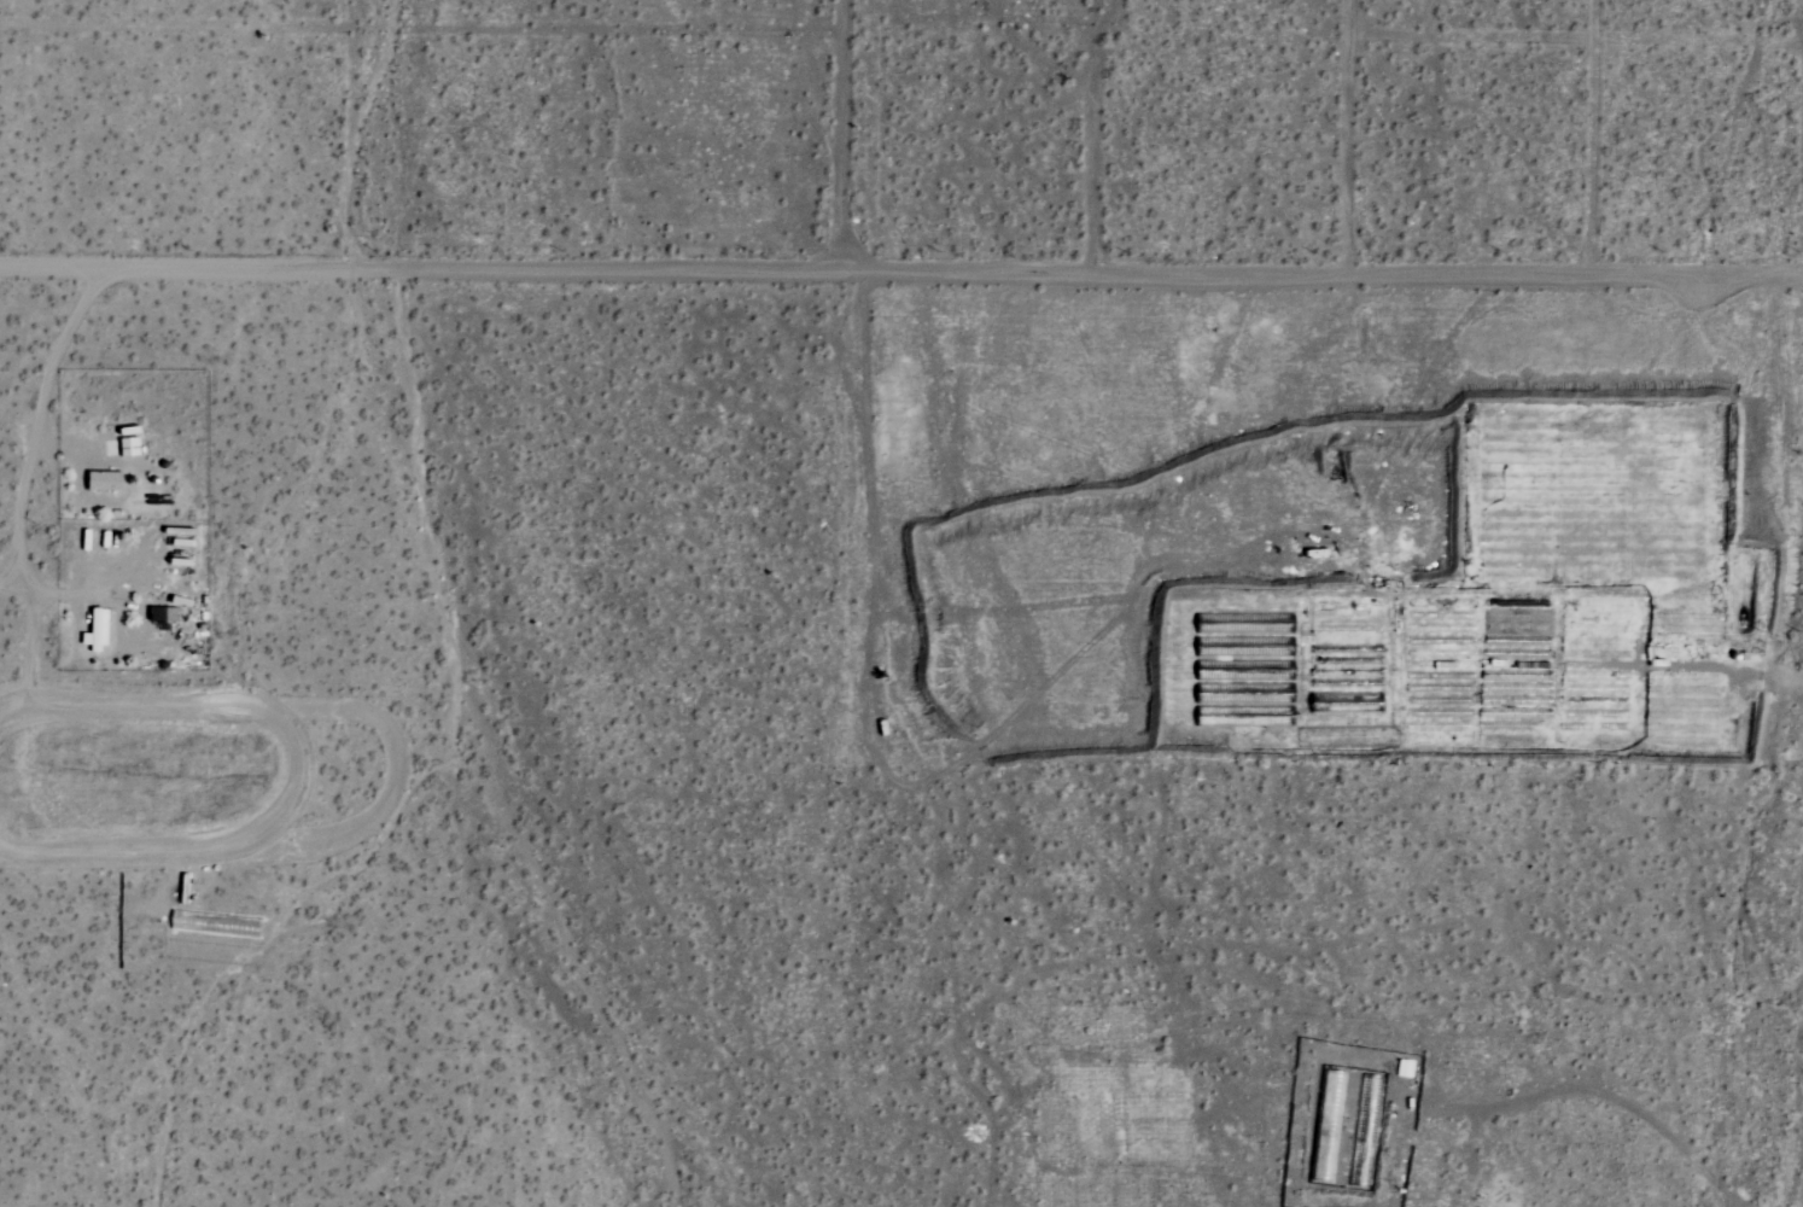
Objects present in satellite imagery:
road: (838, 139)
road: (900, 280)
road: (34, 416)
road: (37, 441)
road: (60, 441)
building: (105, 480)
road: (22, 579)
road: (64, 582)
building: (95, 629)

